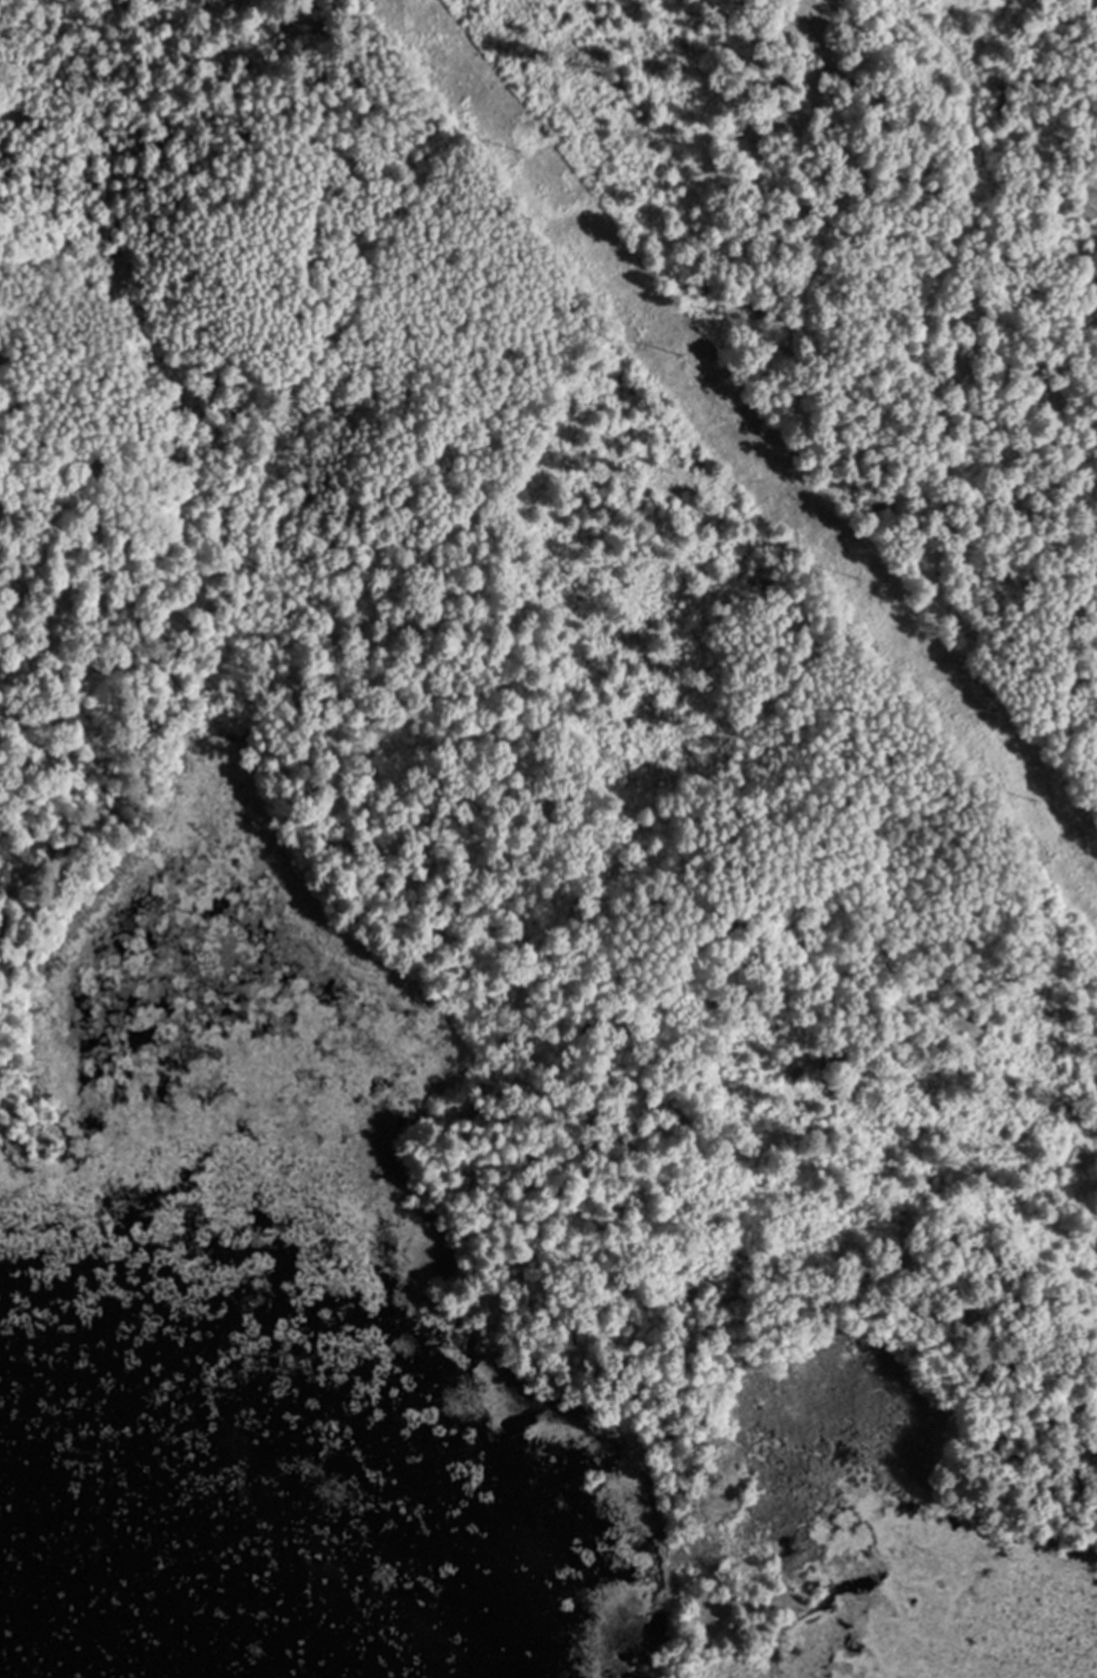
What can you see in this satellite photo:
power tower: (516, 141)
power tower: (684, 353)
power tower: (859, 578)
road: (1003, 702)
power tower: (1035, 800)

